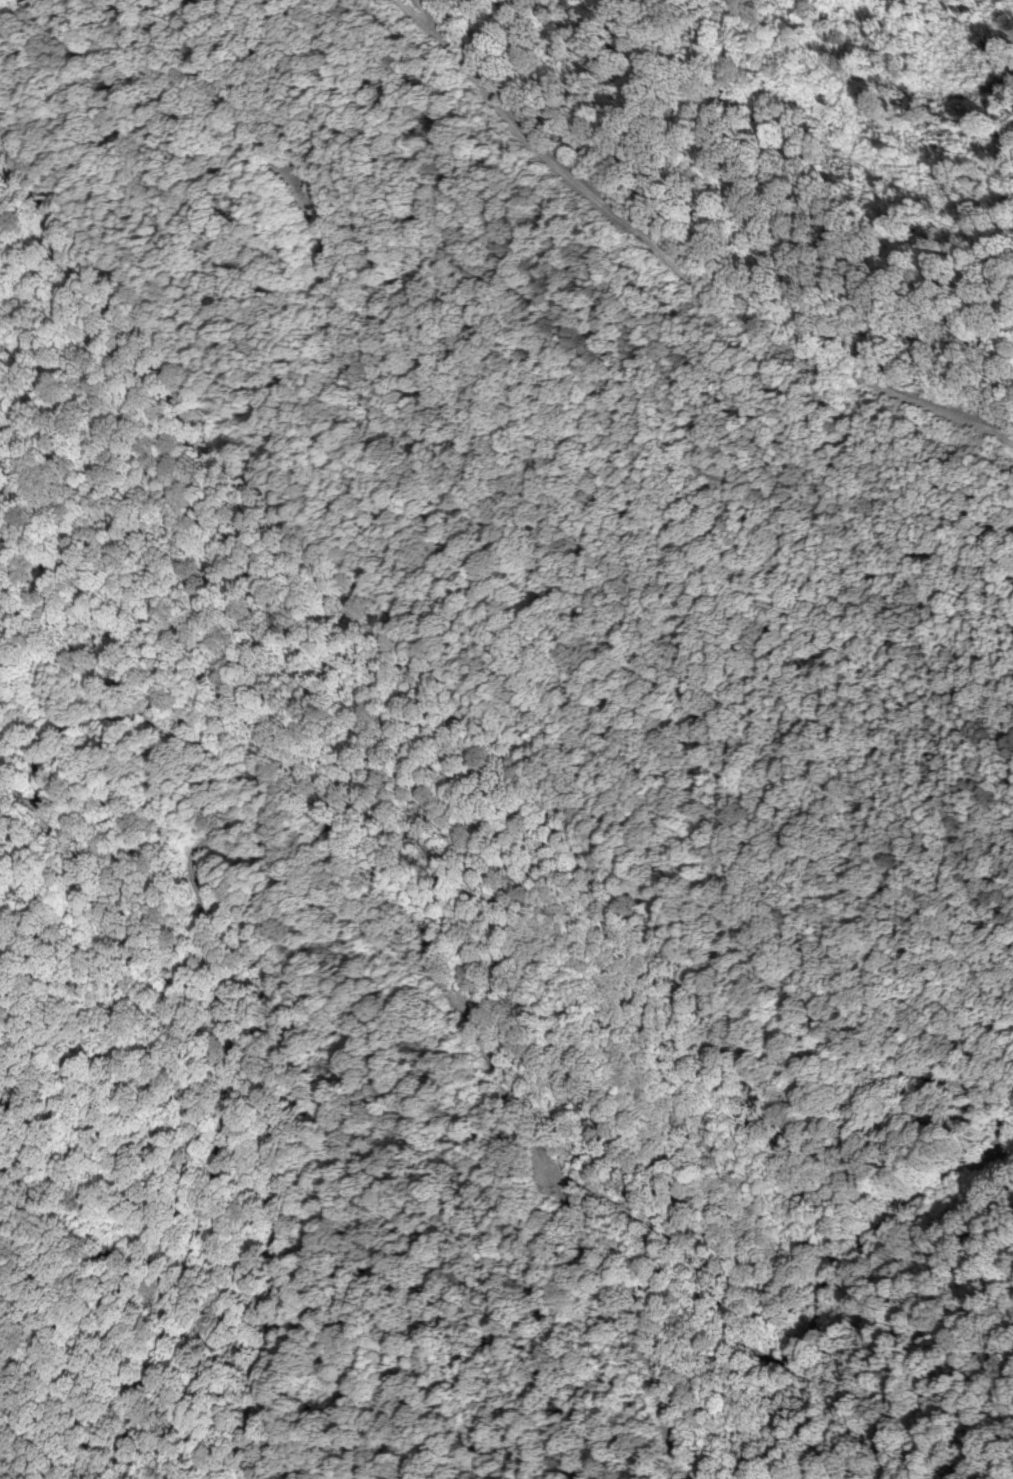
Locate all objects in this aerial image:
road: (749, 220)

